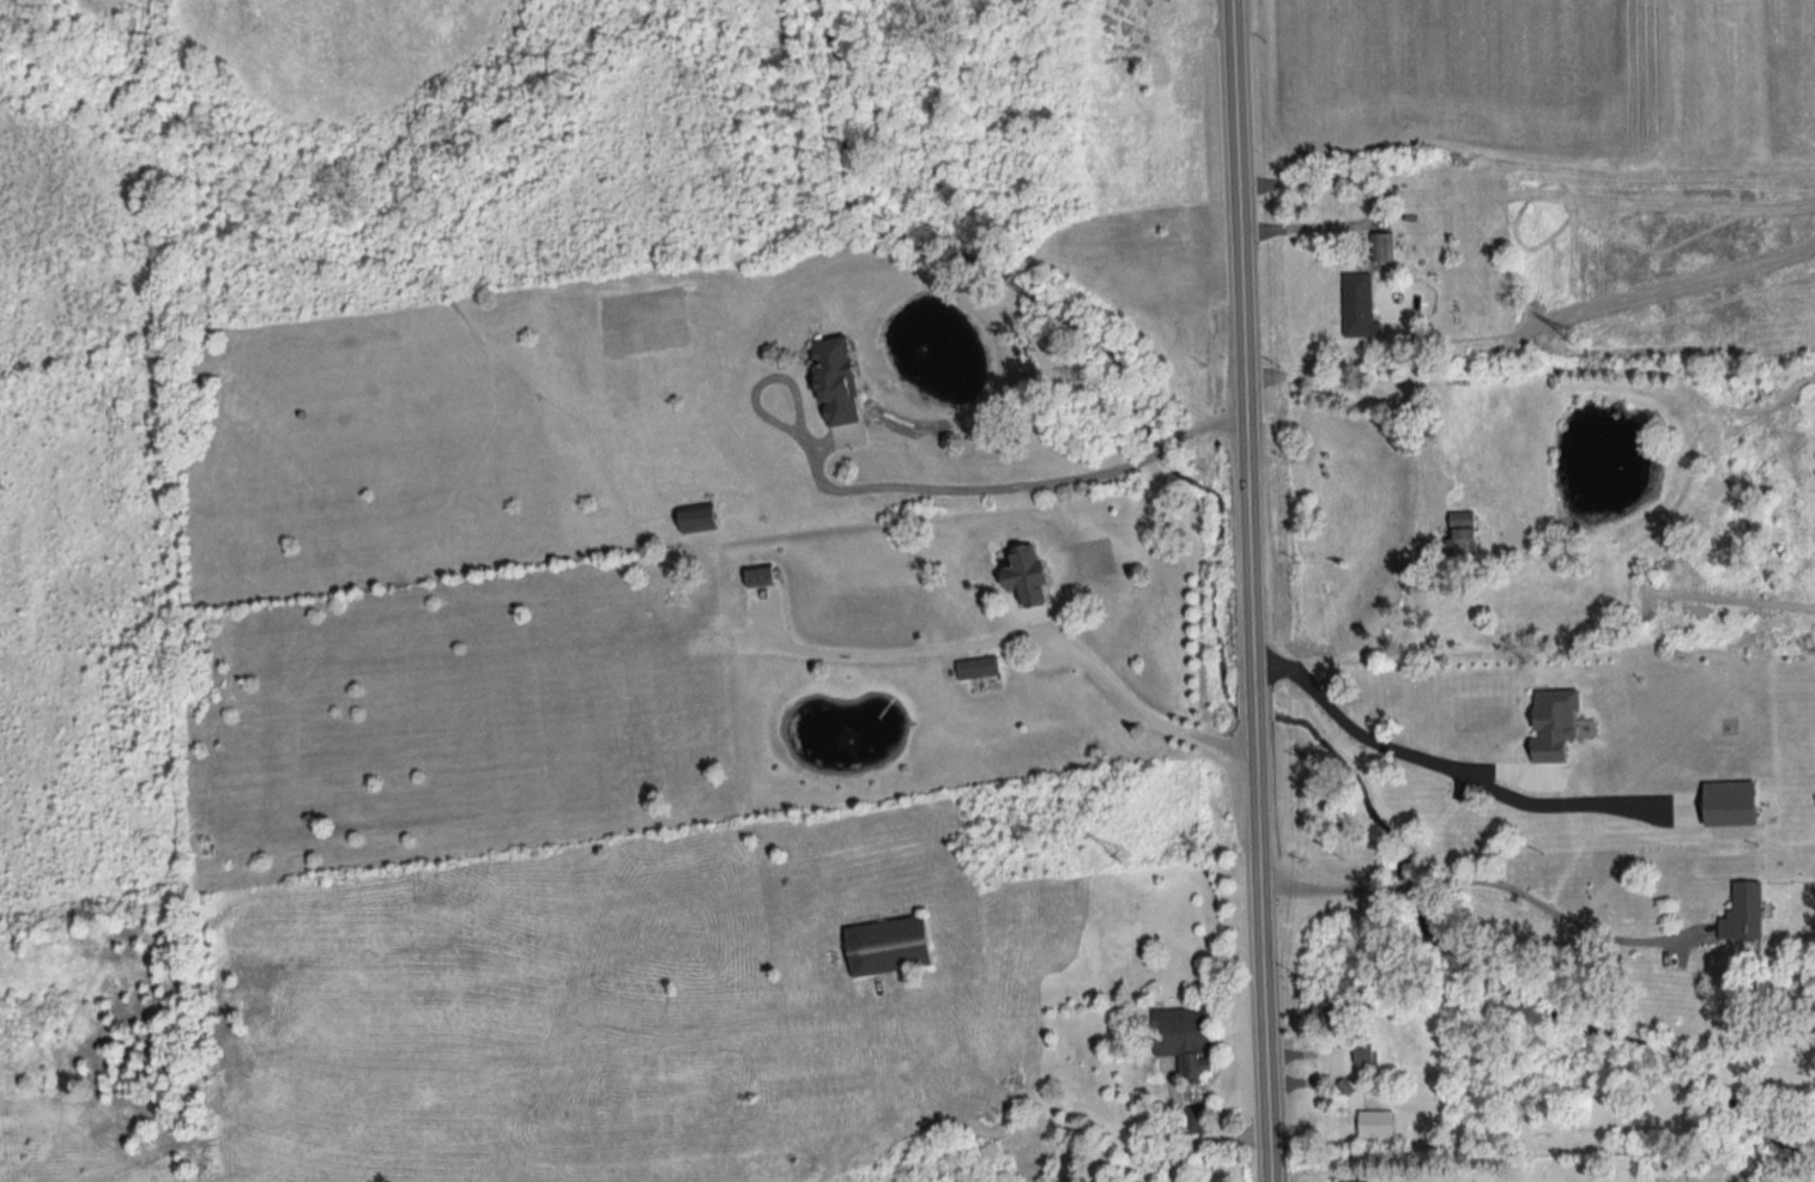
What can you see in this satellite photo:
crop: (1470, 72)
road: (1301, 228)
building: (1381, 246)
building: (1357, 304)
power tower: (1568, 340)
building: (835, 380)
road: (1366, 390)
road: (1010, 485)
building: (695, 516)
building: (1460, 533)
building: (1026, 574)
building: (758, 576)
road: (1247, 590)
road: (889, 655)
building: (976, 666)
road: (1138, 701)
building: (1556, 722)
road: (1356, 728)
building: (1729, 802)
power tower: (1120, 857)
road: (1481, 878)
building: (1741, 913)
building: (887, 945)
building: (1331, 1012)
building: (1182, 1038)
building: (1363, 1051)
building: (1192, 1117)
building: (1375, 1122)
building: (1351, 1181)

